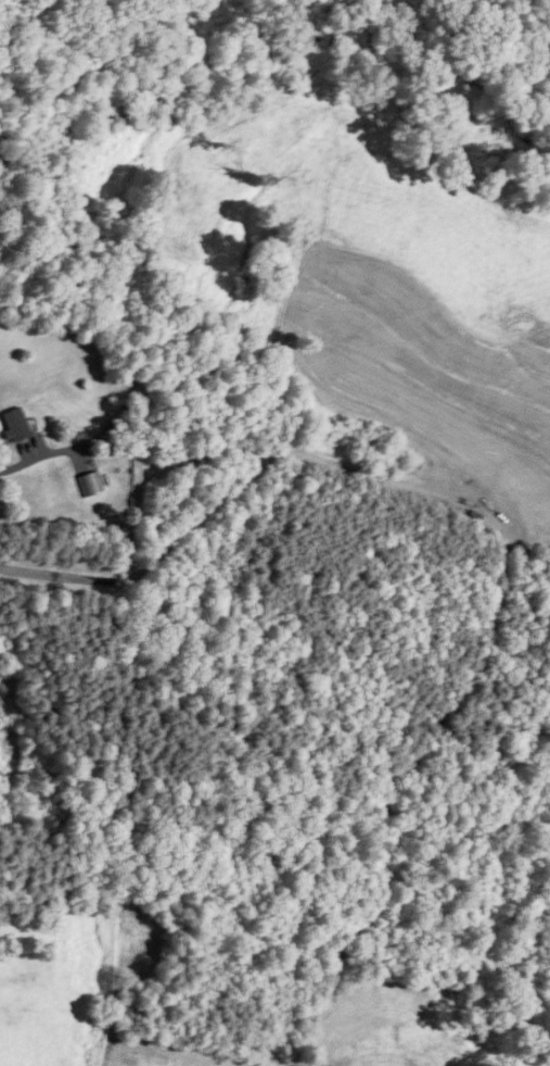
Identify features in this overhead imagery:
building: (14, 426)
road: (41, 454)
building: (89, 484)

